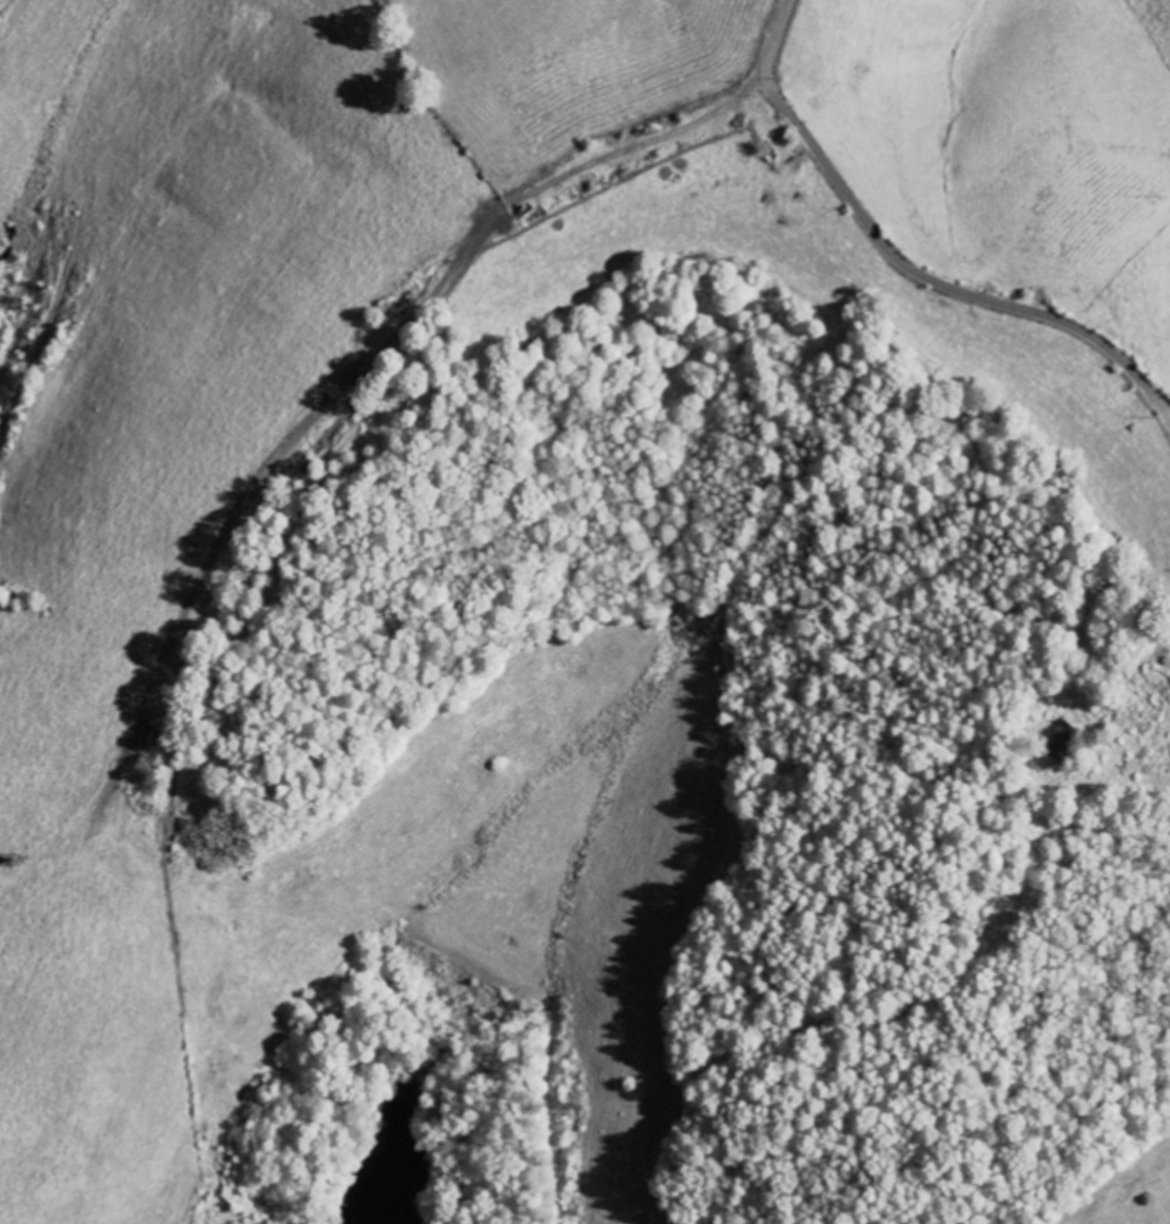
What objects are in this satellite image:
road: (903, 261)

